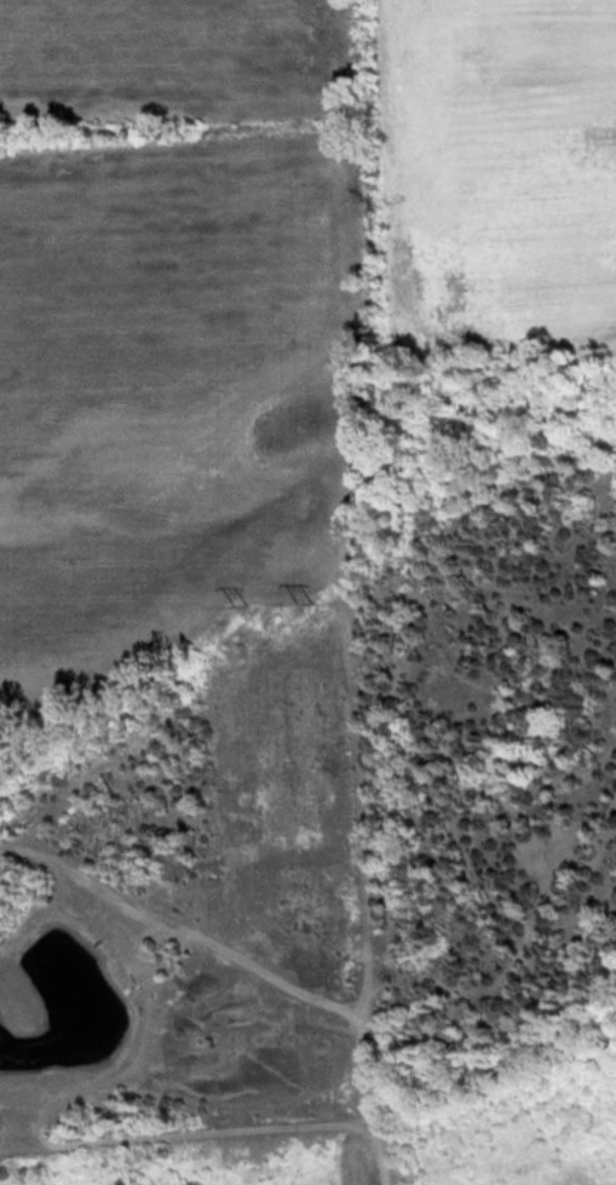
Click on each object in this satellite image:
power tower: (305, 600)
power tower: (238, 603)
road: (212, 1129)

